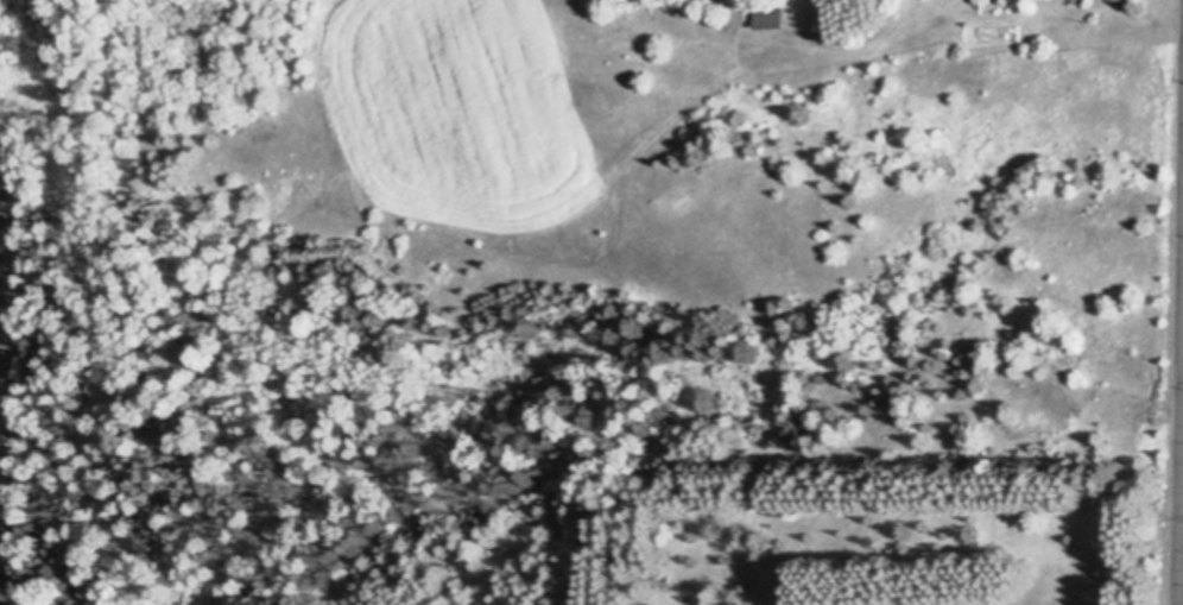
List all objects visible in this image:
road: (1179, 447)

